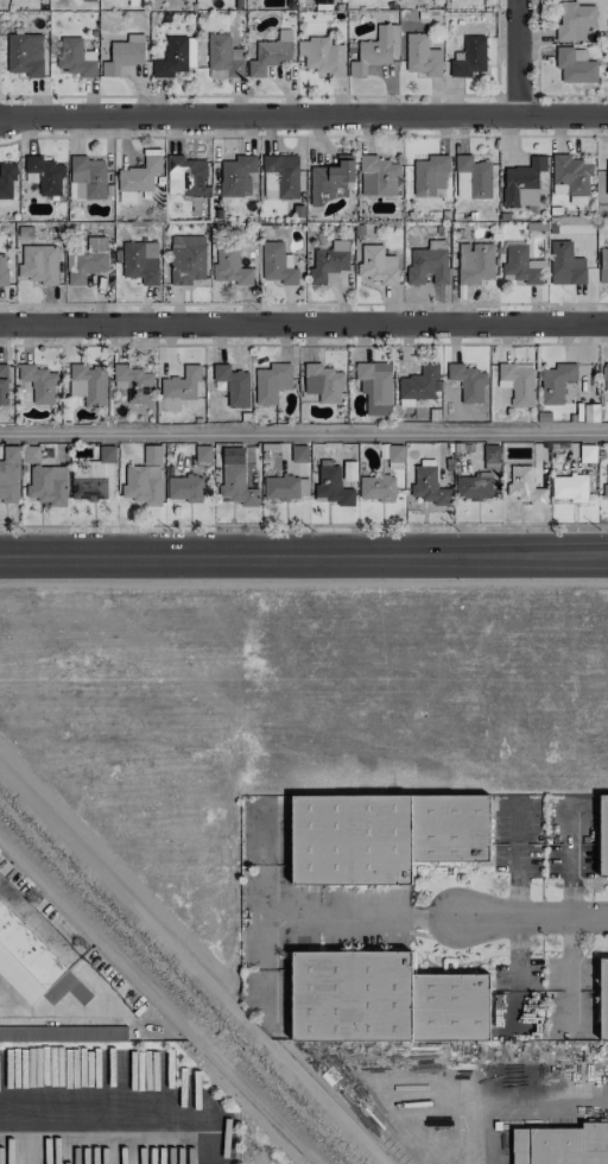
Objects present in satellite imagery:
building: (88, 0)
building: (574, 20)
building: (375, 50)
building: (24, 53)
building: (123, 55)
building: (270, 55)
building: (176, 56)
building: (321, 56)
building: (422, 56)
building: (75, 57)
building: (223, 57)
building: (469, 57)
road: (513, 57)
building: (575, 65)
road: (304, 114)
building: (236, 173)
building: (45, 175)
building: (185, 175)
building: (430, 175)
building: (378, 176)
building: (571, 177)
building: (138, 178)
building: (471, 178)
building: (607, 178)
building: (330, 179)
building: (6, 181)
building: (522, 183)
building: (87, 259)
building: (186, 259)
building: (329, 259)
building: (140, 261)
building: (427, 262)
building: (474, 262)
building: (39, 264)
building: (277, 264)
building: (565, 264)
building: (378, 265)
building: (521, 265)
building: (603, 265)
building: (229, 266)
building: (2, 270)
road: (304, 324)
building: (606, 377)
building: (517, 381)
building: (556, 381)
building: (39, 382)
building: (133, 382)
building: (271, 382)
building: (322, 382)
building: (374, 382)
building: (467, 382)
building: (4, 384)
building: (88, 384)
building: (233, 385)
building: (418, 385)
building: (178, 388)
building: (590, 412)
road: (304, 431)
building: (202, 453)
building: (30, 454)
building: (299, 454)
building: (490, 457)
building: (188, 464)
building: (348, 470)
building: (9, 474)
building: (94, 476)
building: (144, 477)
building: (234, 477)
building: (606, 481)
building: (46, 485)
building: (524, 485)
building: (331, 486)
building: (429, 486)
building: (473, 486)
building: (285, 487)
building: (376, 487)
building: (569, 487)
building: (184, 488)
road: (304, 555)
building: (594, 641)
building: (392, 658)
building: (100, 664)
road: (518, 822)
building: (381, 834)
building: (603, 834)
road: (519, 883)
road: (379, 917)
road: (534, 917)
building: (27, 950)
building: (13, 973)
road: (96, 985)
building: (381, 999)
road: (159, 1000)
building: (603, 1001)
building: (63, 1033)
road: (134, 1097)
road: (528, 1111)
building: (562, 1145)

